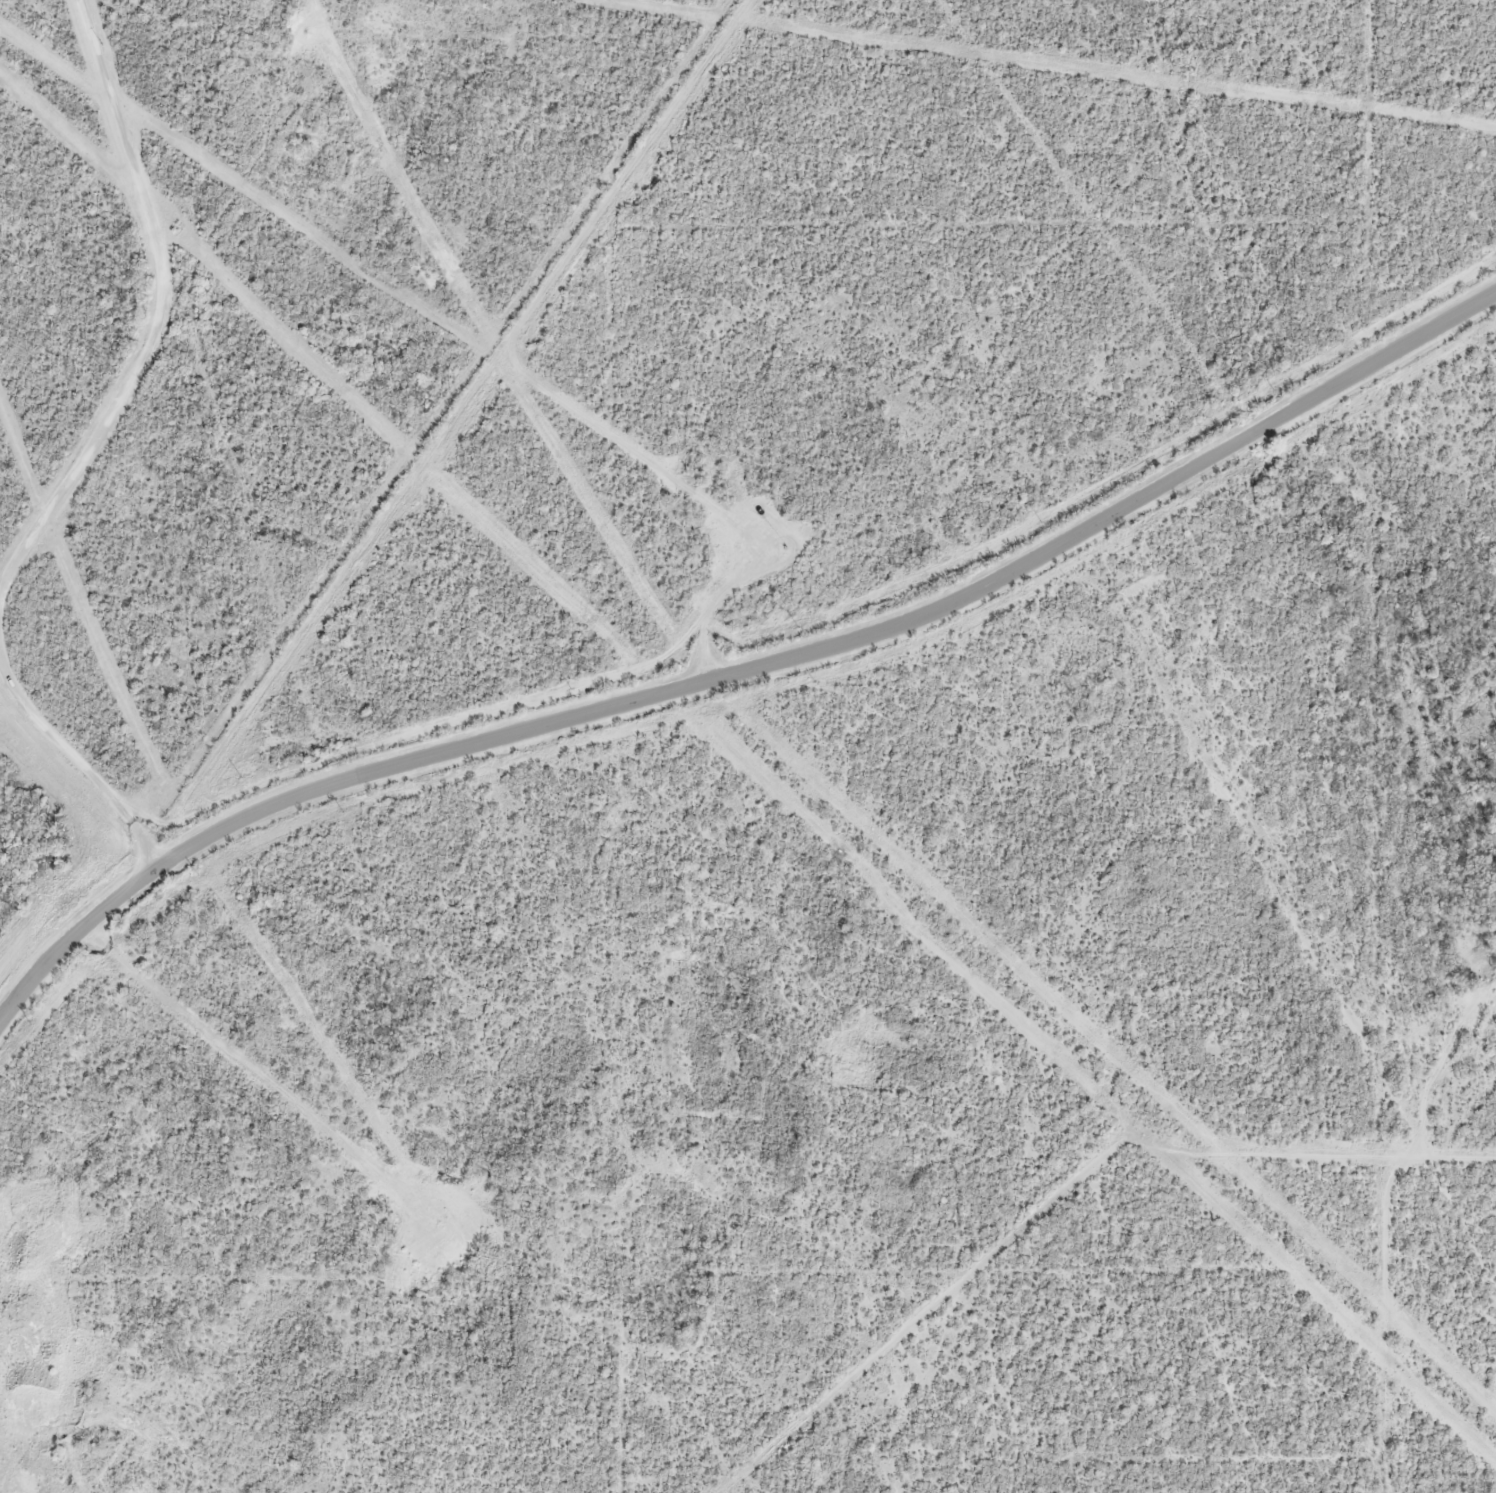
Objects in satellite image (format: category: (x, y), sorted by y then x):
road: (859, 652)
road: (72, 921)

